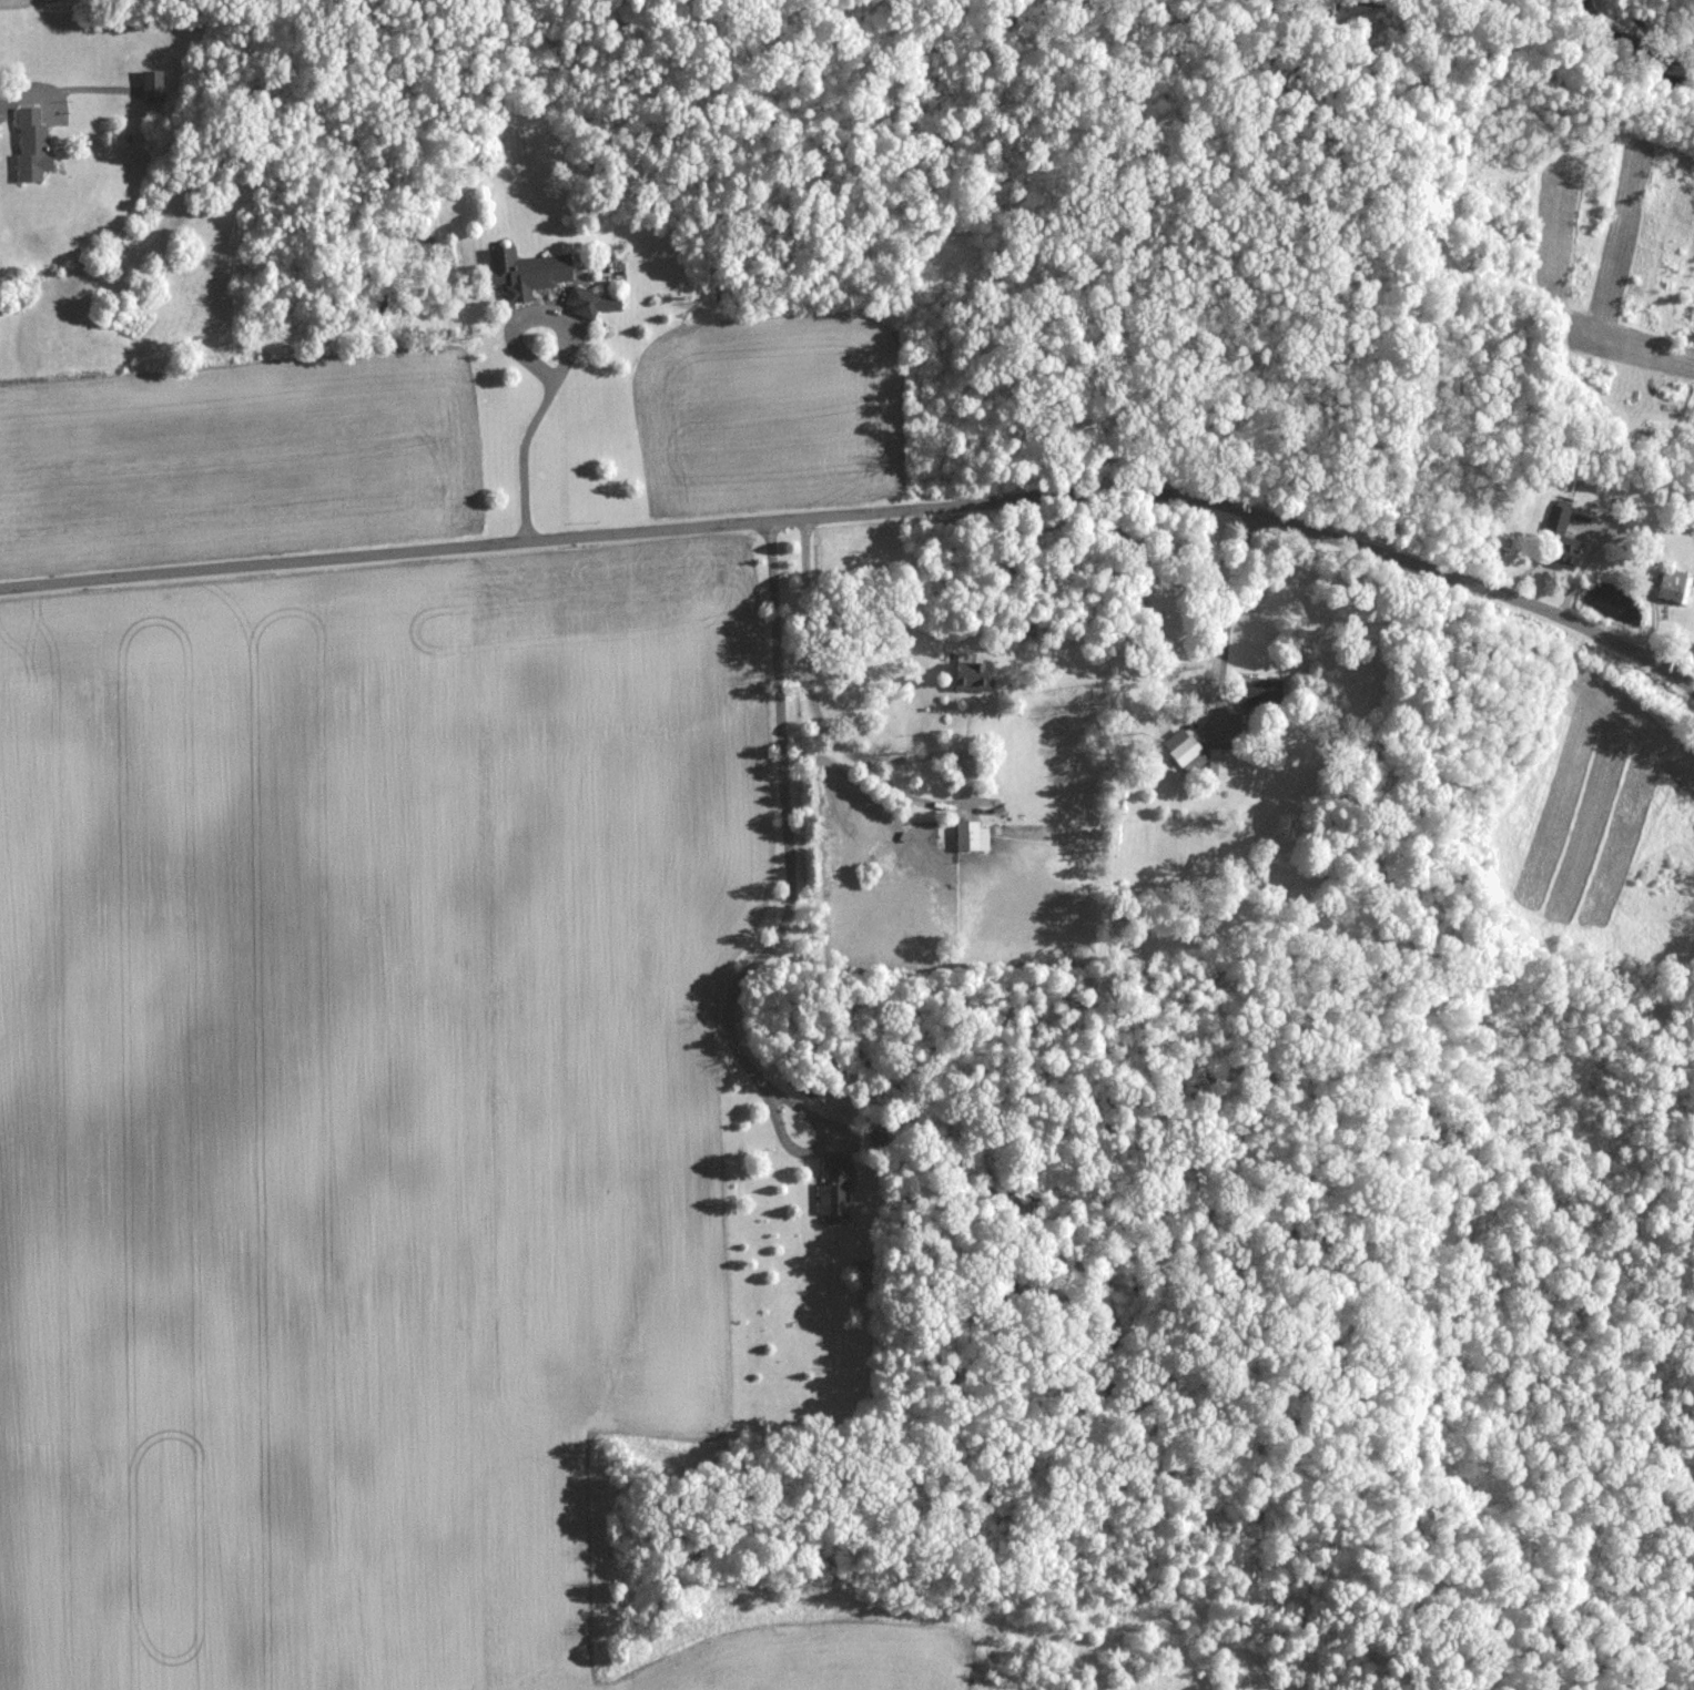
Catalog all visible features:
building: (156, 86)
road: (26, 93)
building: (37, 146)
building: (532, 274)
building: (598, 304)
road: (539, 430)
road: (864, 512)
building: (1562, 519)
building: (1575, 554)
building: (1680, 587)
road: (1227, 625)
building: (978, 679)
building: (1265, 693)
building: (1185, 747)
road: (863, 756)
building: (1223, 763)
building: (977, 836)
road: (790, 908)
building: (840, 1191)

